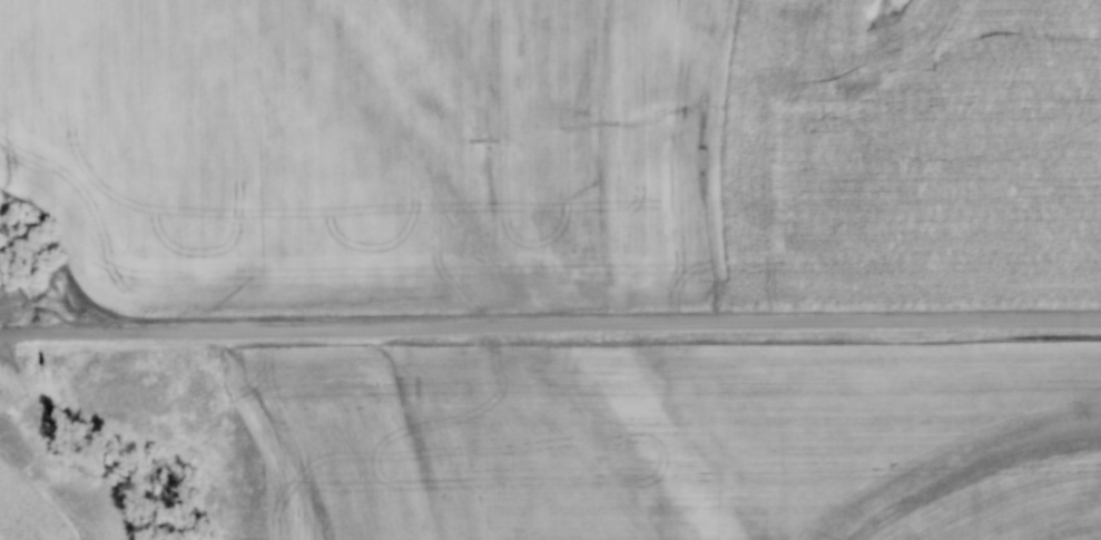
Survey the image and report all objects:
crop: (400, 149)
road: (550, 325)

